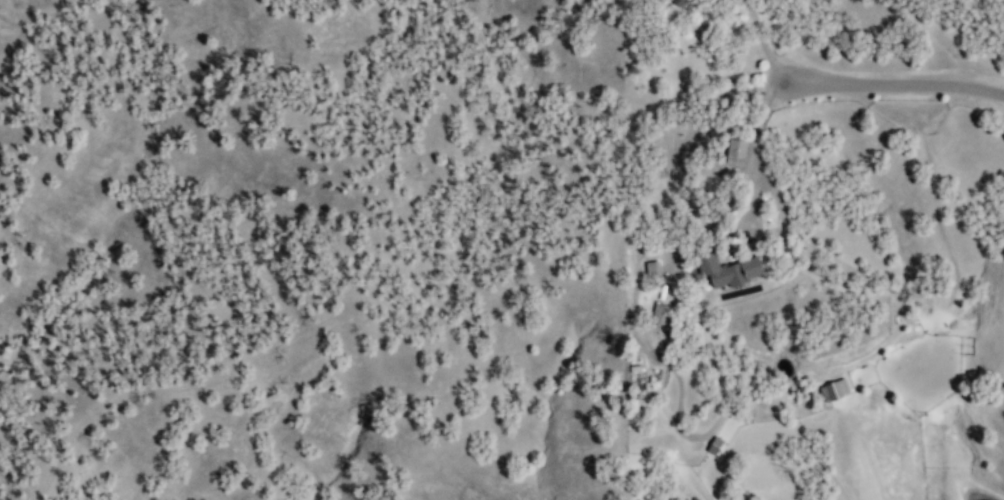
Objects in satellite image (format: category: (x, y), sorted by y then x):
road: (901, 86)
building: (731, 153)
road: (771, 192)
building: (649, 268)
building: (725, 271)
building: (656, 314)

